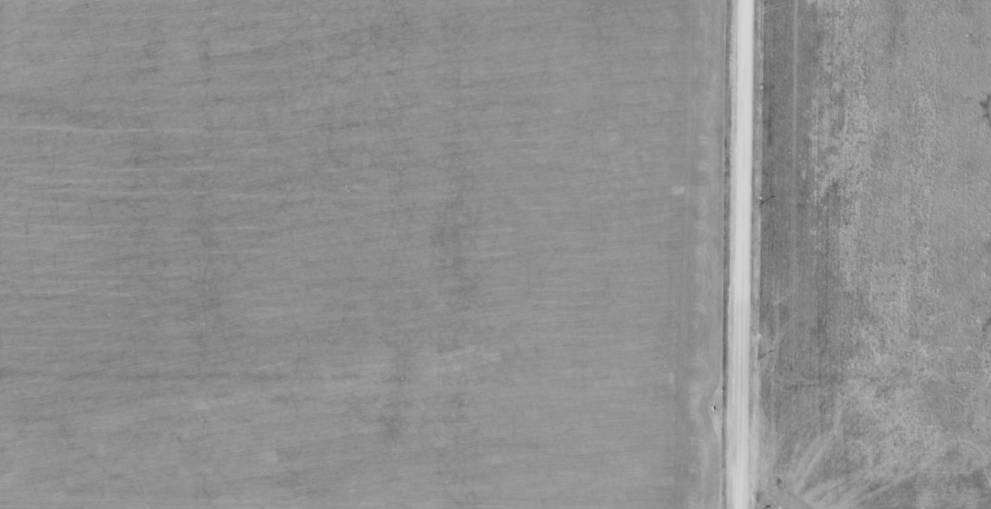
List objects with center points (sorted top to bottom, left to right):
road: (743, 254)

